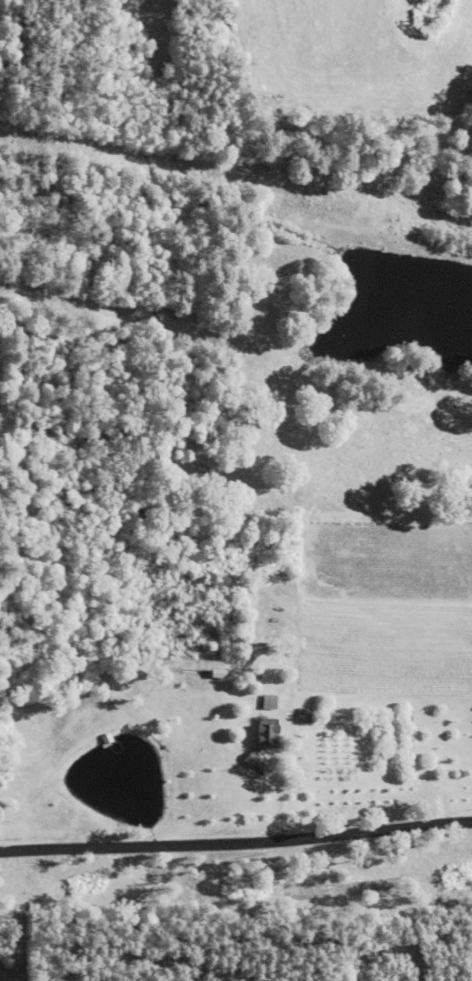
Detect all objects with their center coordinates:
building: (267, 702)
building: (258, 743)
road: (235, 844)

